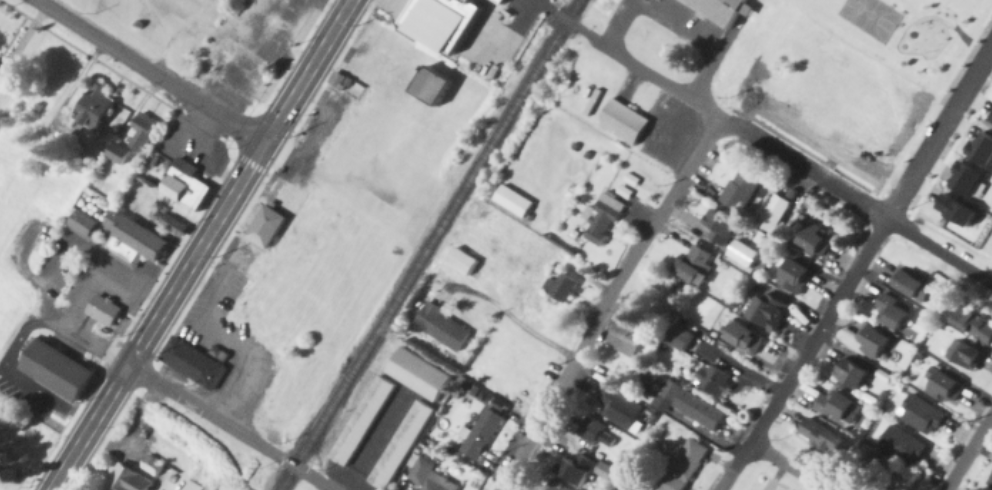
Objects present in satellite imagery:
building: (497, 1)
building: (506, 1)
building: (305, 7)
road: (525, 8)
building: (723, 10)
building: (289, 16)
building: (445, 19)
road: (672, 23)
building: (274, 44)
railway: (543, 56)
building: (0, 68)
road: (151, 71)
building: (244, 77)
building: (339, 82)
building: (433, 88)
building: (95, 107)
building: (624, 124)
building: (146, 129)
building: (983, 146)
building: (120, 152)
road: (777, 154)
building: (971, 176)
building: (633, 177)
building: (743, 186)
building: (187, 189)
building: (626, 189)
building: (512, 201)
building: (962, 208)
building: (776, 211)
building: (601, 219)
building: (723, 222)
building: (84, 228)
building: (176, 228)
building: (268, 229)
building: (817, 235)
building: (136, 238)
road: (201, 245)
building: (125, 251)
building: (745, 251)
building: (461, 261)
building: (699, 262)
road: (857, 266)
road: (102, 272)
building: (798, 272)
building: (914, 281)
building: (565, 284)
road: (606, 301)
railway: (394, 302)
building: (773, 308)
building: (897, 310)
building: (104, 313)
road: (510, 317)
building: (973, 321)
road: (53, 322)
building: (442, 327)
building: (629, 327)
building: (746, 333)
building: (687, 336)
building: (876, 338)
road: (223, 340)
building: (971, 350)
building: (193, 366)
building: (856, 369)
building: (58, 373)
building: (417, 374)
building: (716, 375)
building: (946, 382)
building: (668, 393)
road: (40, 403)
building: (842, 404)
building: (623, 406)
building: (699, 410)
building: (925, 412)
building: (362, 421)
road: (228, 427)
building: (599, 430)
building: (481, 434)
building: (826, 434)
road: (373, 442)
building: (906, 443)
building: (400, 445)
road: (968, 452)
building: (686, 464)
building: (580, 465)
road: (786, 466)
building: (153, 468)
building: (607, 468)
building: (429, 477)
building: (991, 480)
building: (129, 481)
building: (559, 486)
building: (636, 487)

